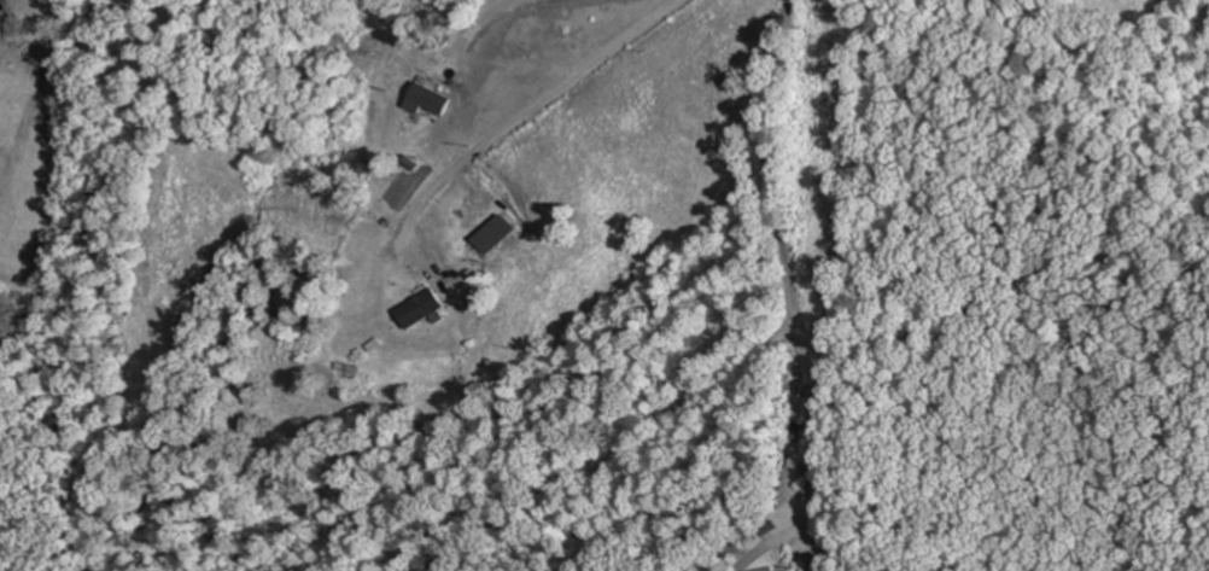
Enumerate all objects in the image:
road: (474, 19)
building: (436, 92)
road: (524, 101)
building: (491, 234)
building: (415, 308)
road: (796, 328)
road: (812, 432)
building: (767, 569)

